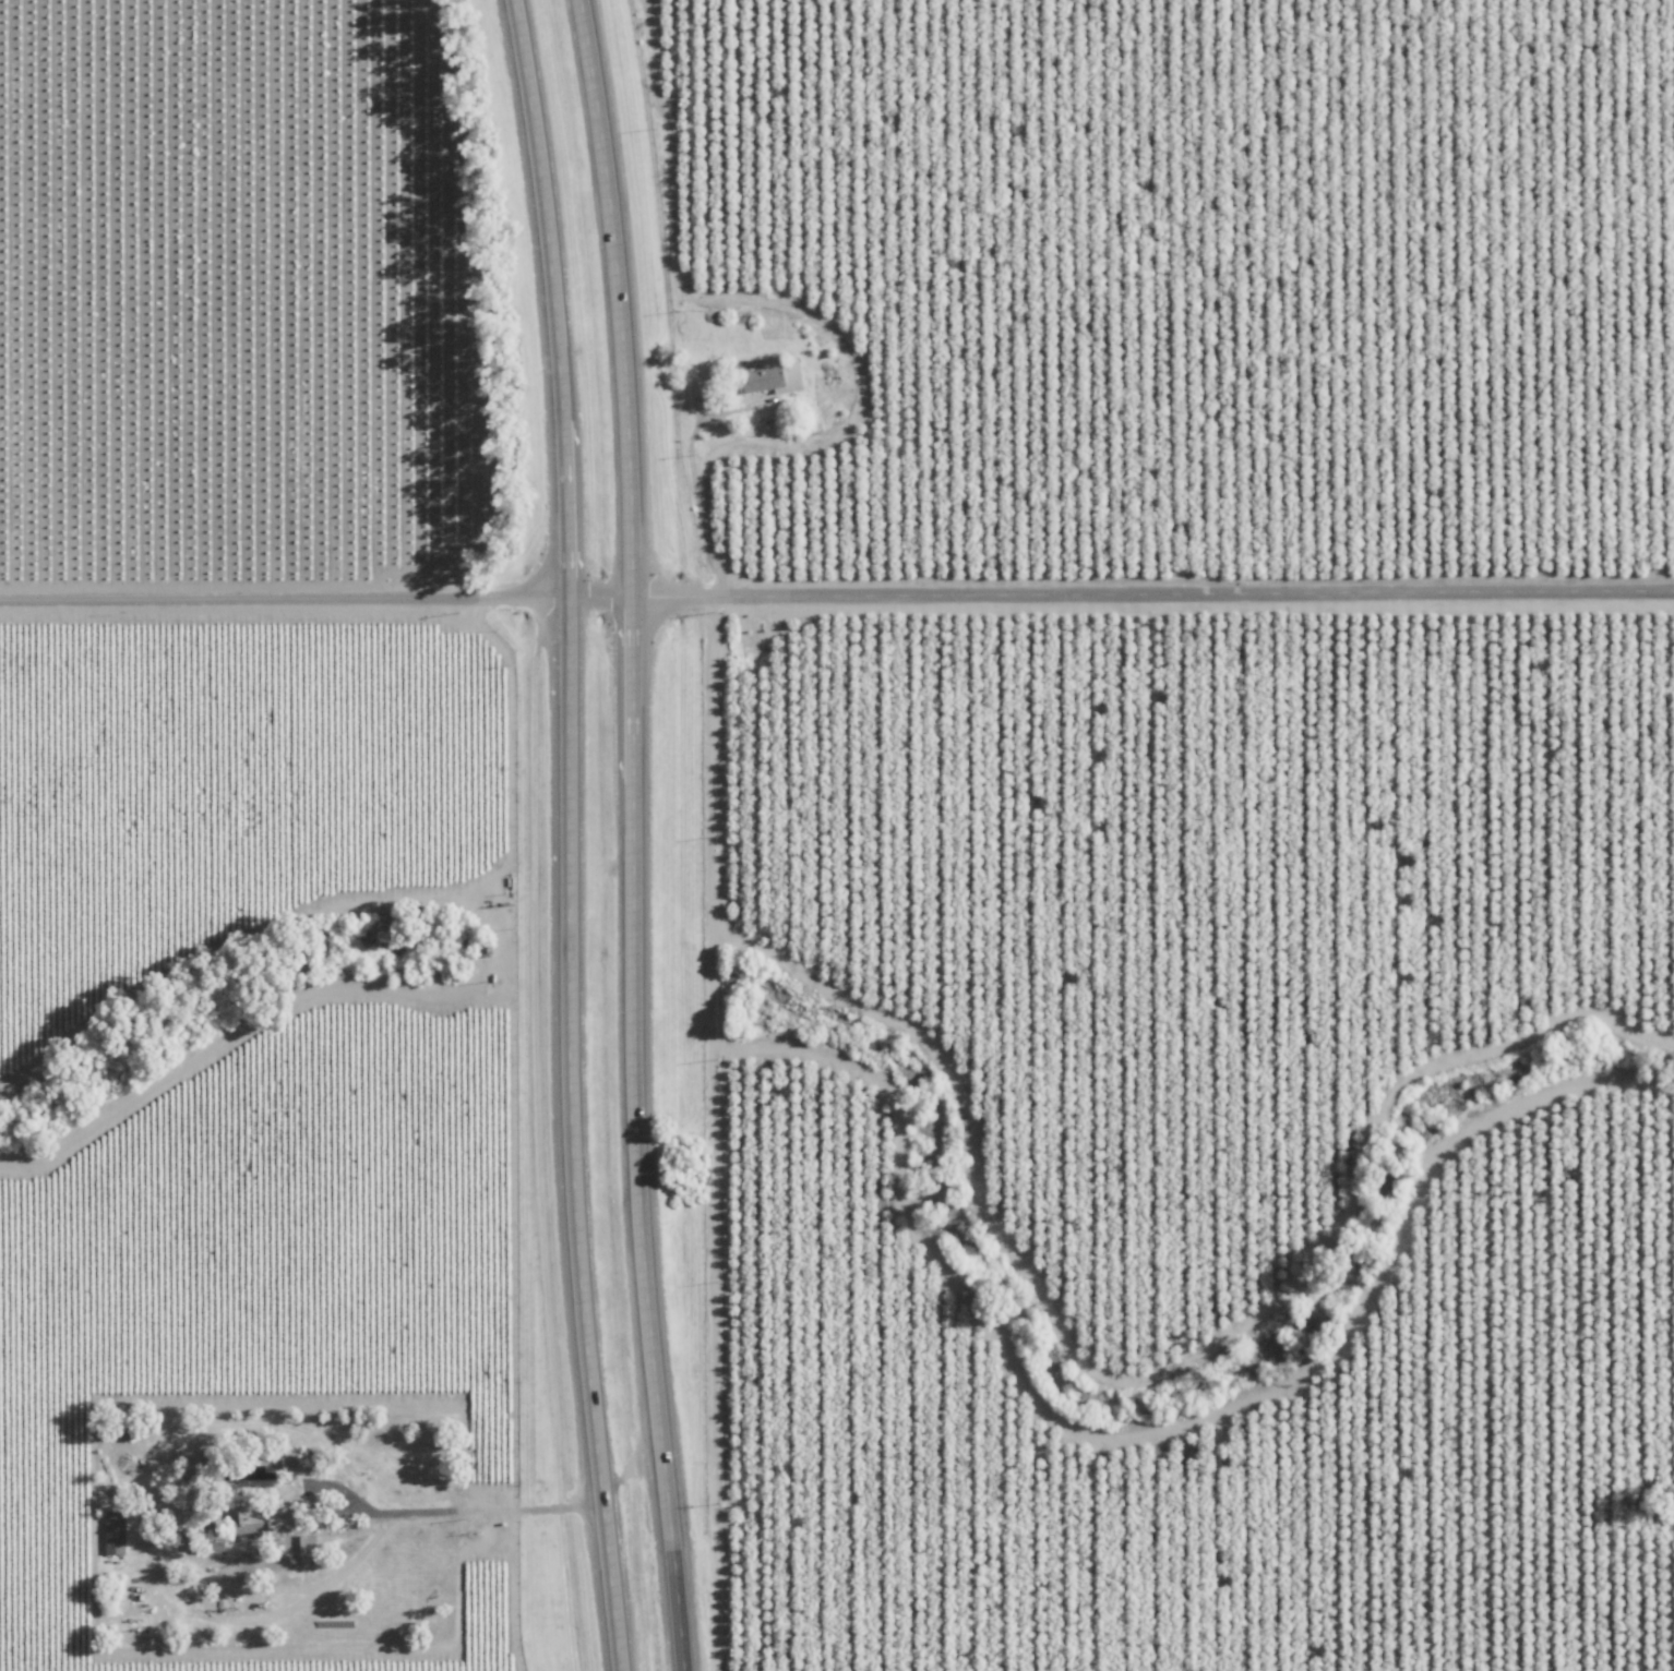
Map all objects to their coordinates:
building: (770, 378)
road: (693, 491)
road: (836, 580)
road: (572, 834)
road: (638, 834)
road: (503, 1512)
building: (113, 1531)

